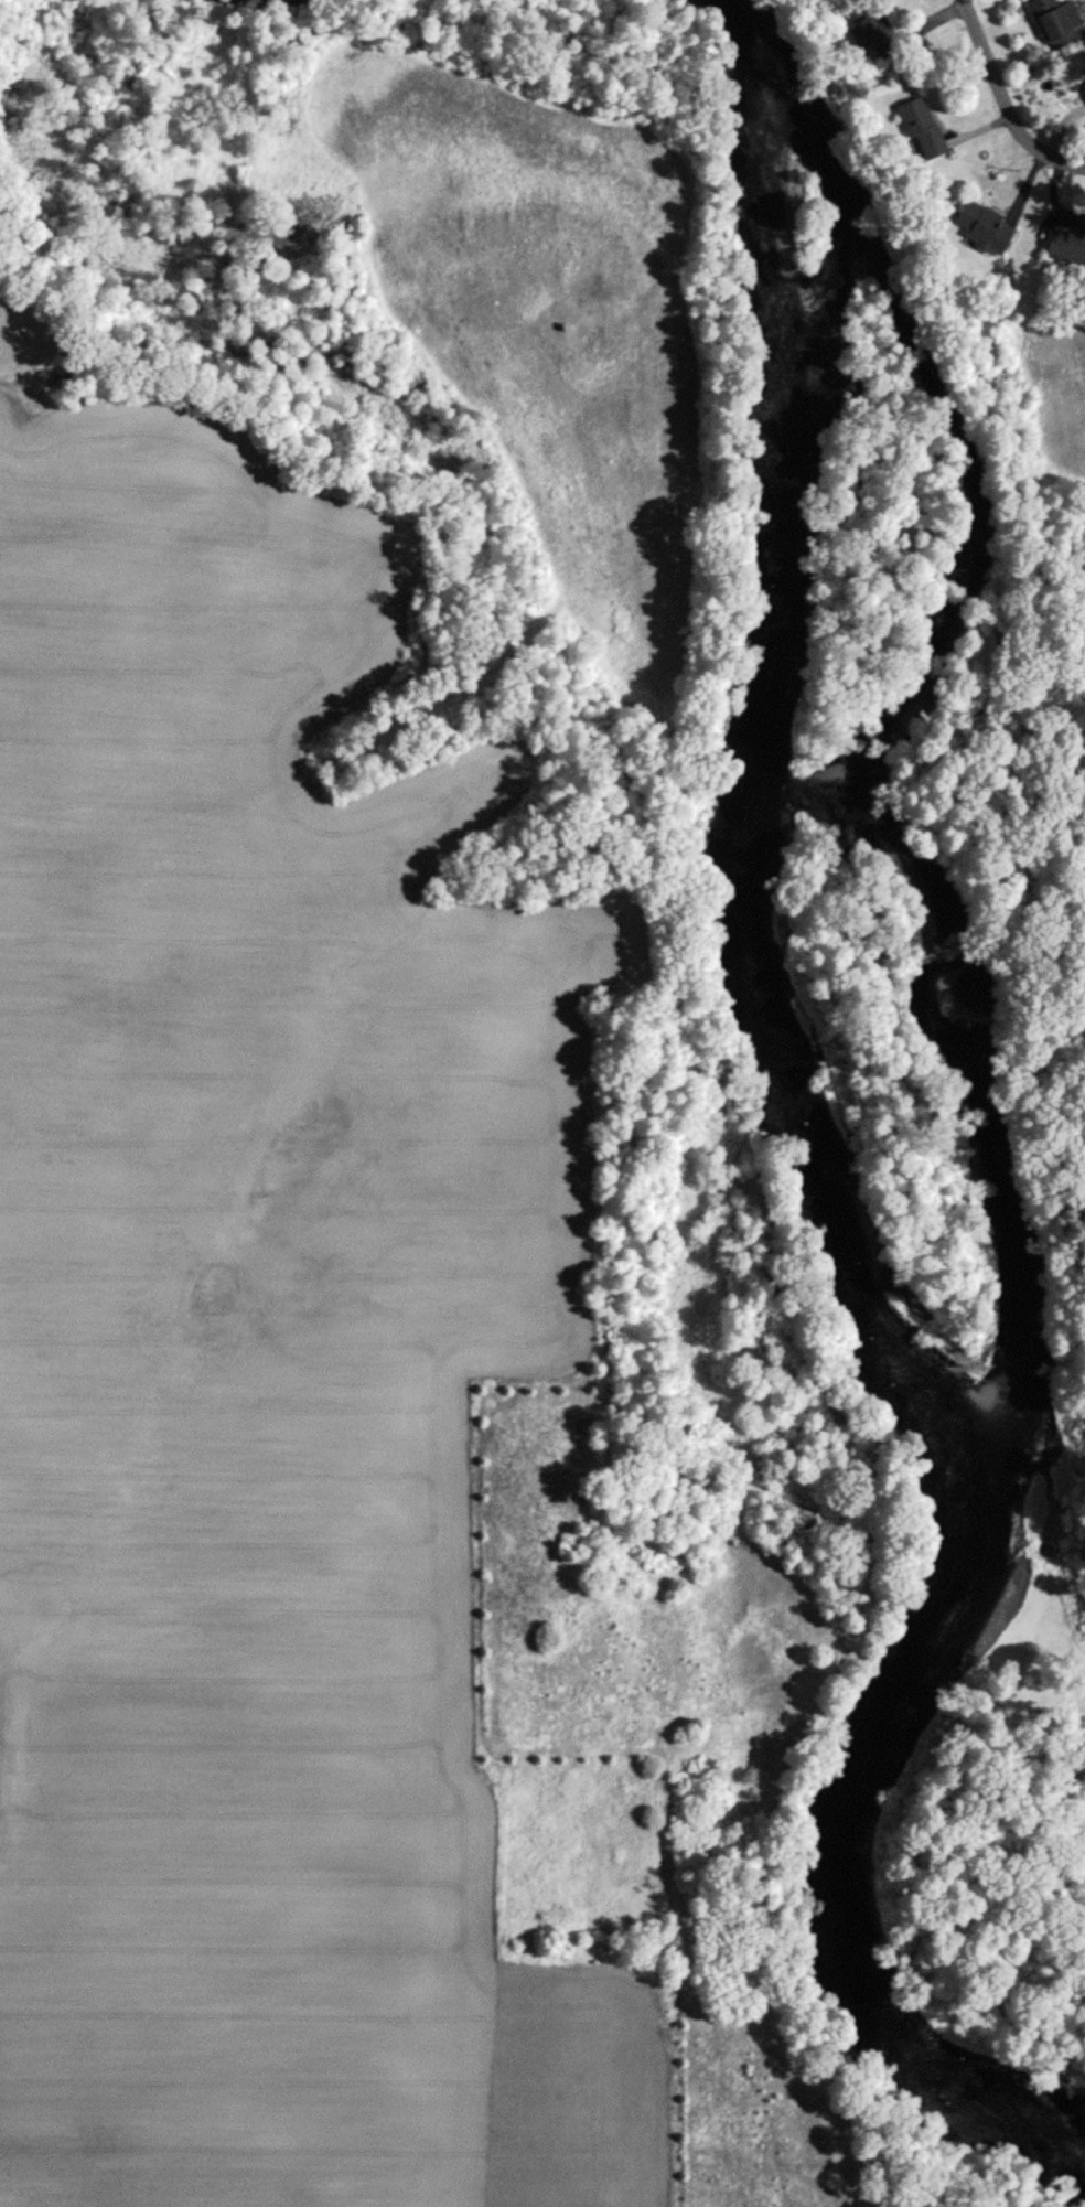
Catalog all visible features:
building: (1056, 22)
building: (863, 23)
building: (1084, 85)
road: (1006, 99)
building: (920, 127)
building: (982, 227)
building: (1068, 243)
river: (824, 1169)

